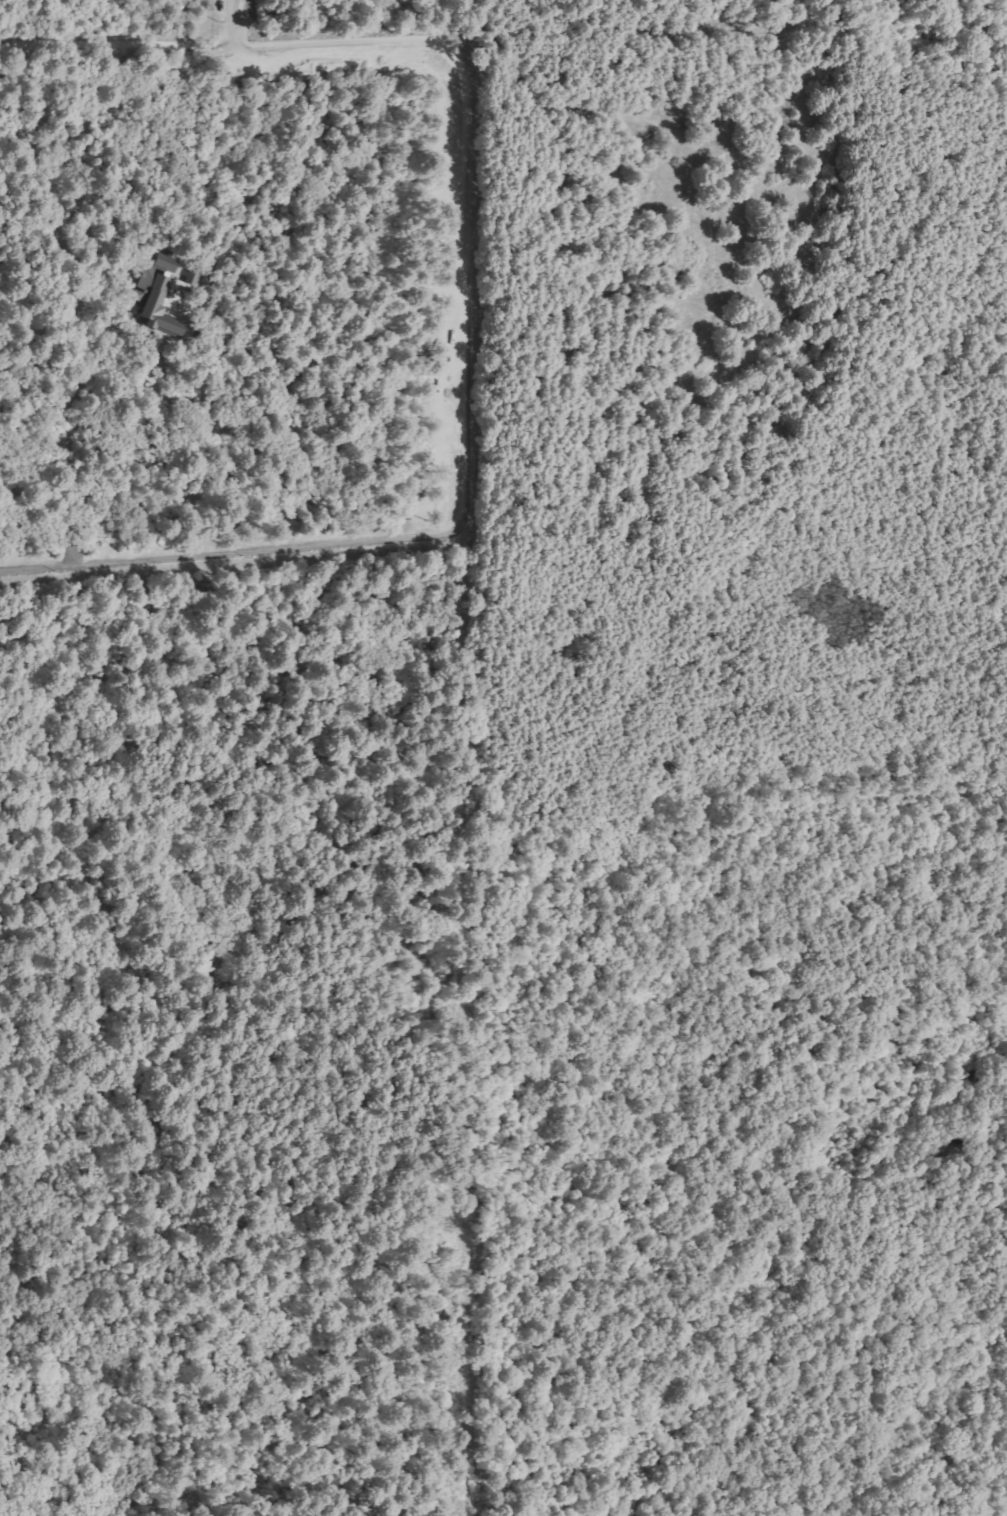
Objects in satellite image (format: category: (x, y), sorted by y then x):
road: (472, 391)

